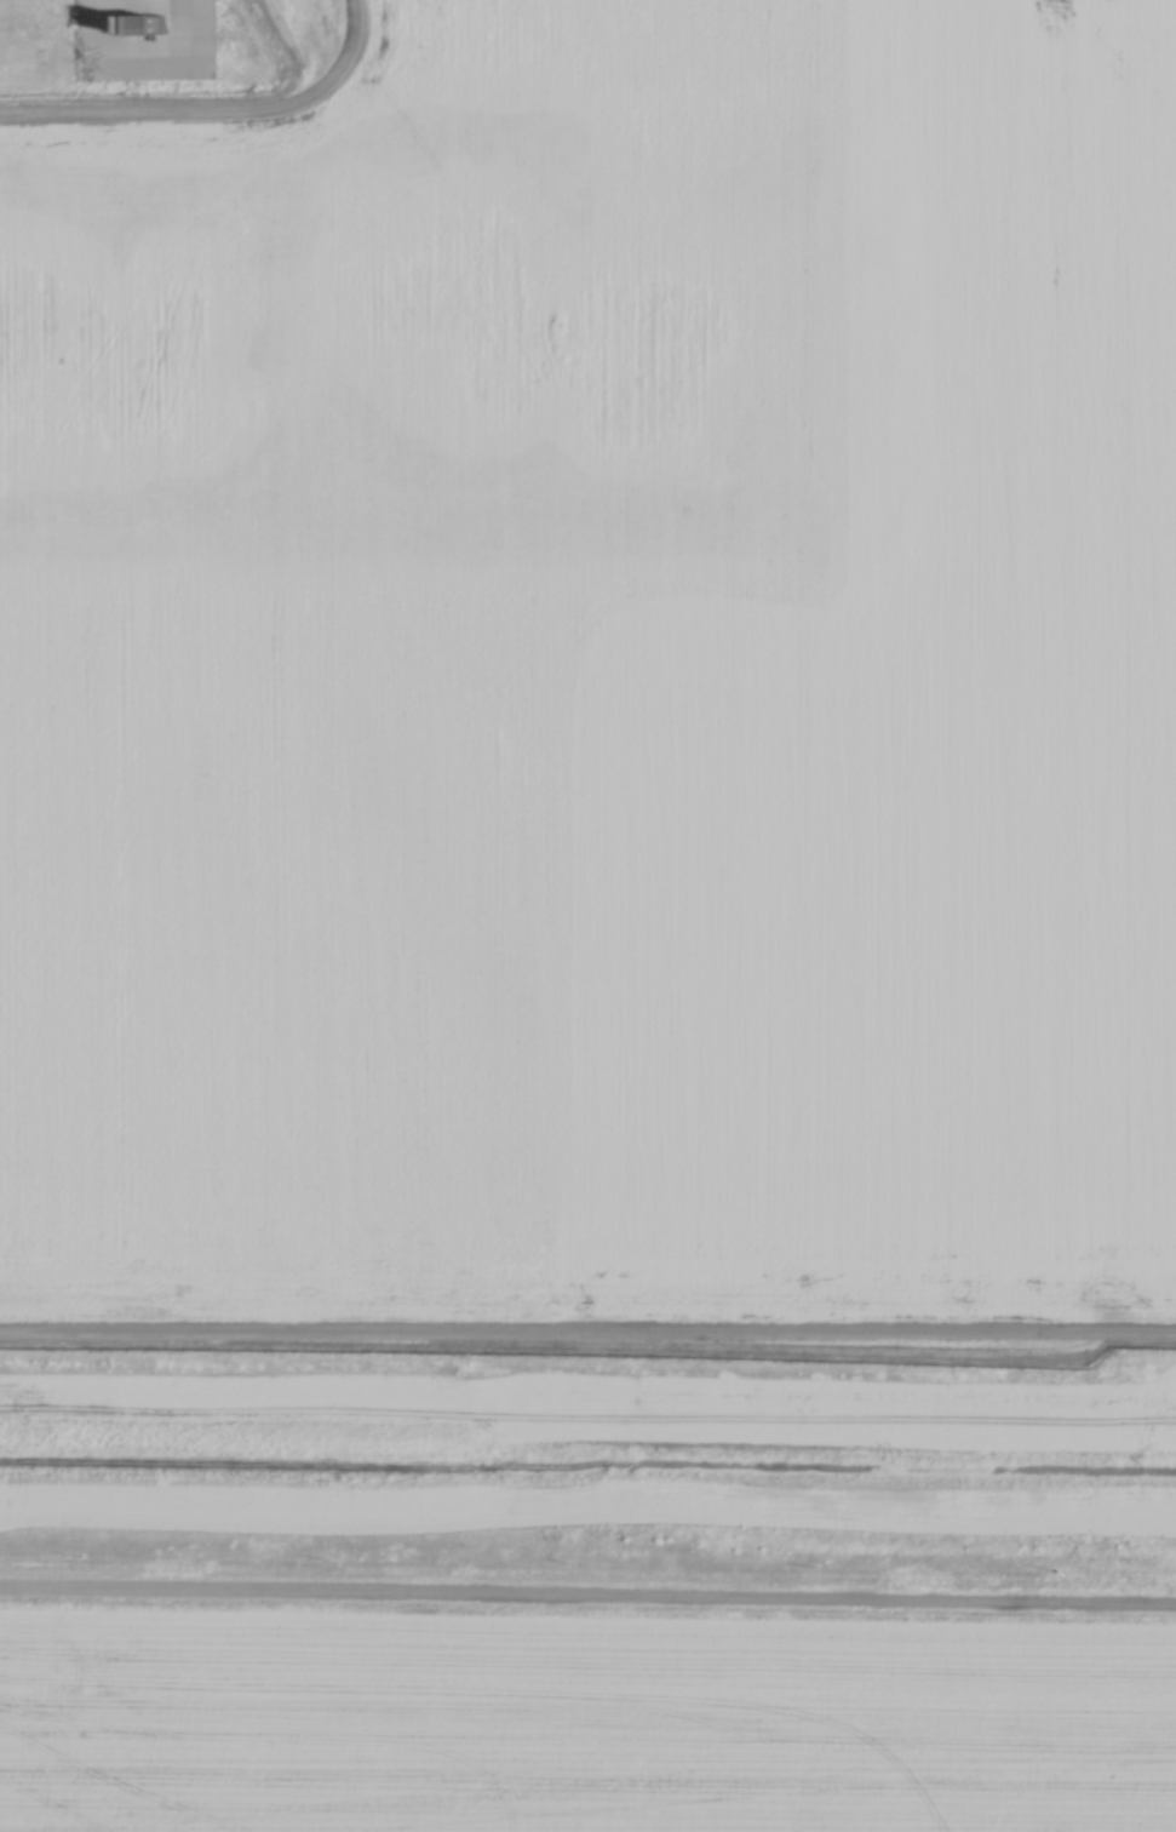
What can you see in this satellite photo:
building: (133, 19)
road: (211, 107)
road: (587, 1336)
road: (587, 1592)

